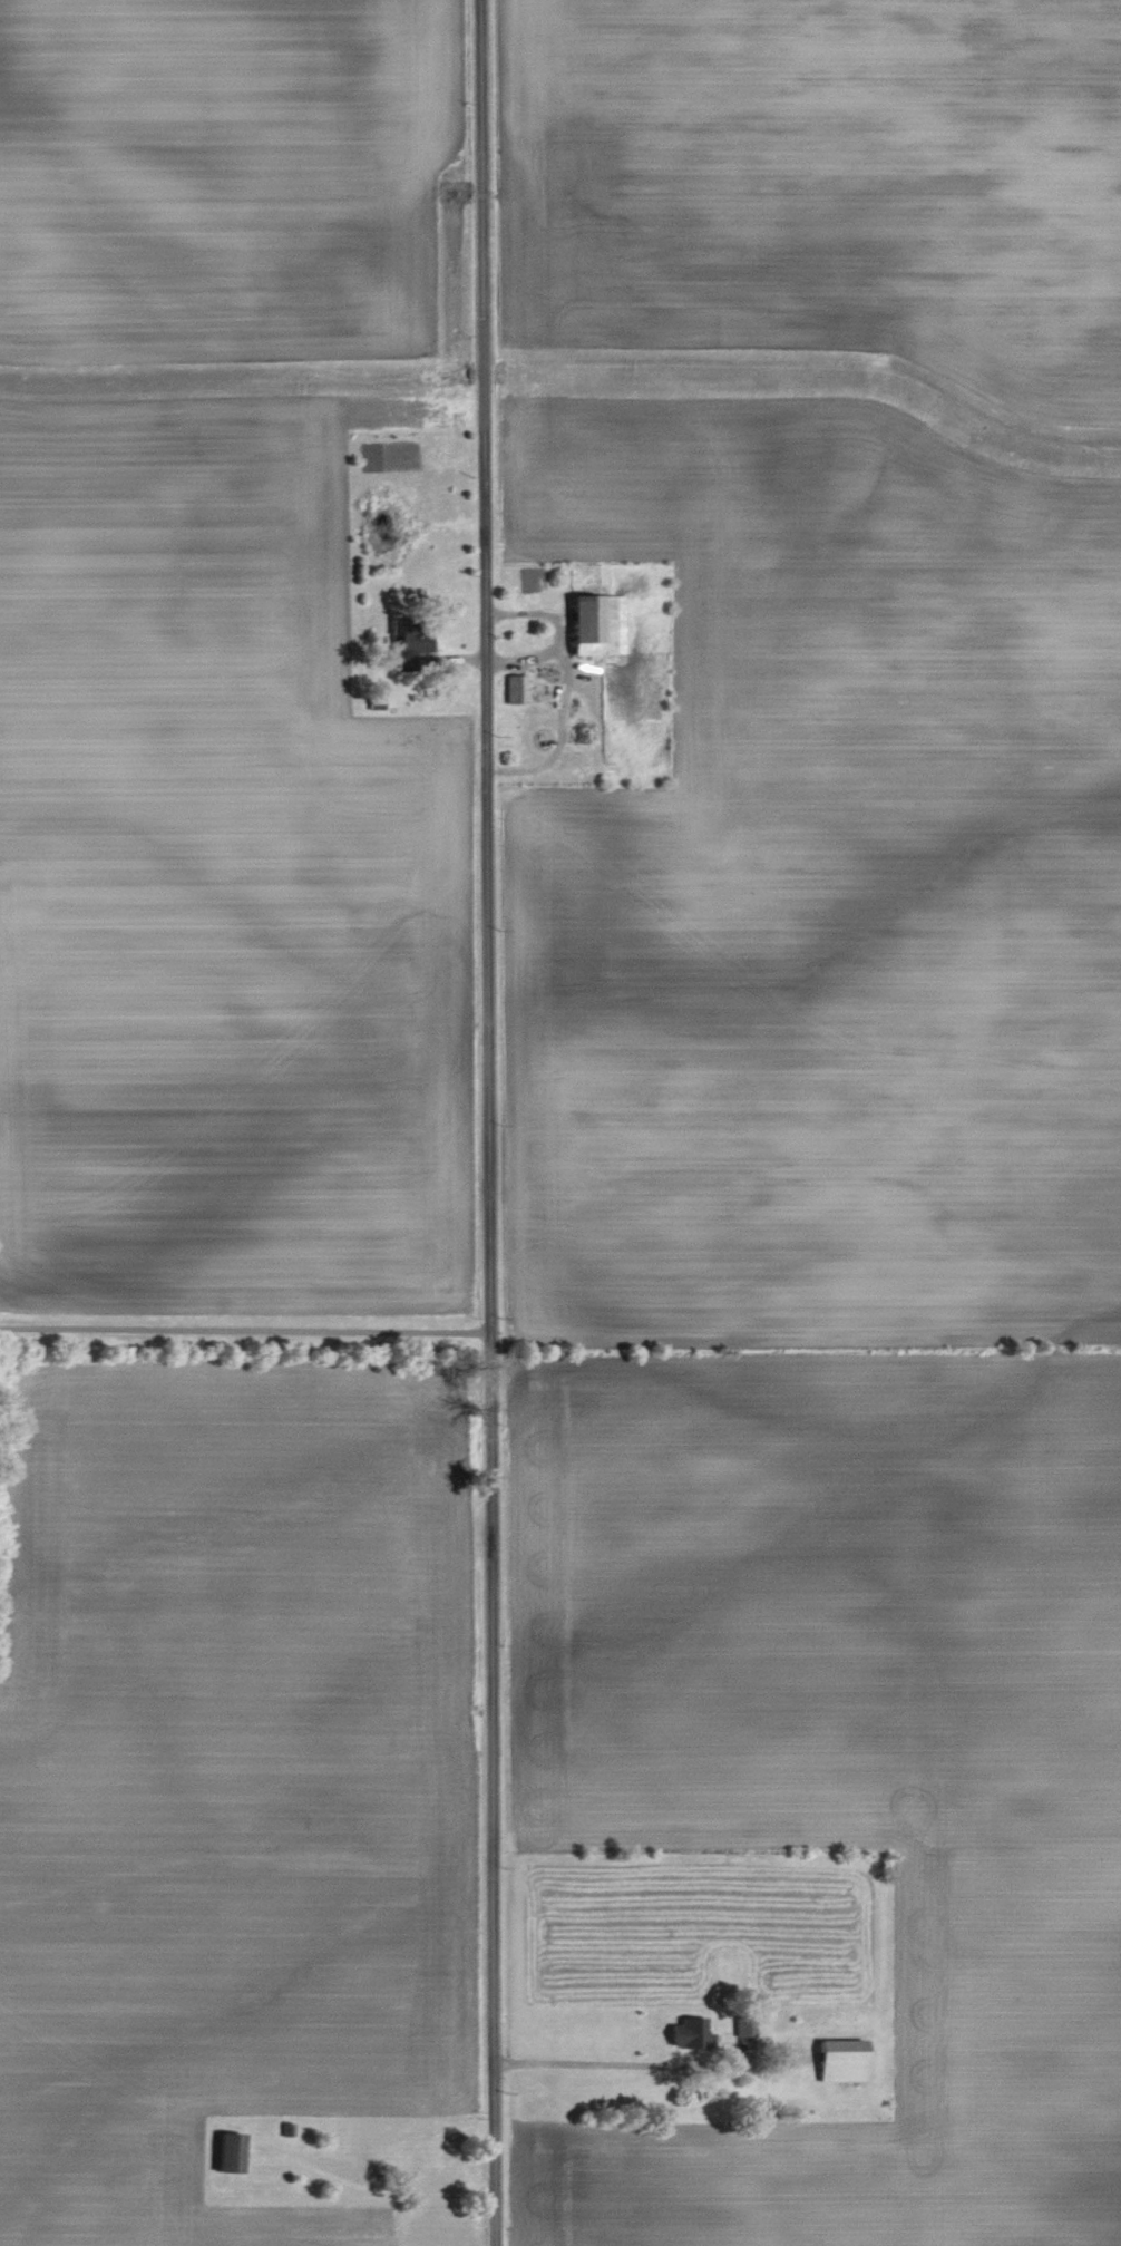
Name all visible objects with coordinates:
building: (598, 625)
building: (410, 635)
building: (517, 689)
road: (493, 1122)
road: (247, 1318)
building: (690, 2033)
building: (842, 2060)
road: (595, 2065)
building: (231, 2153)

